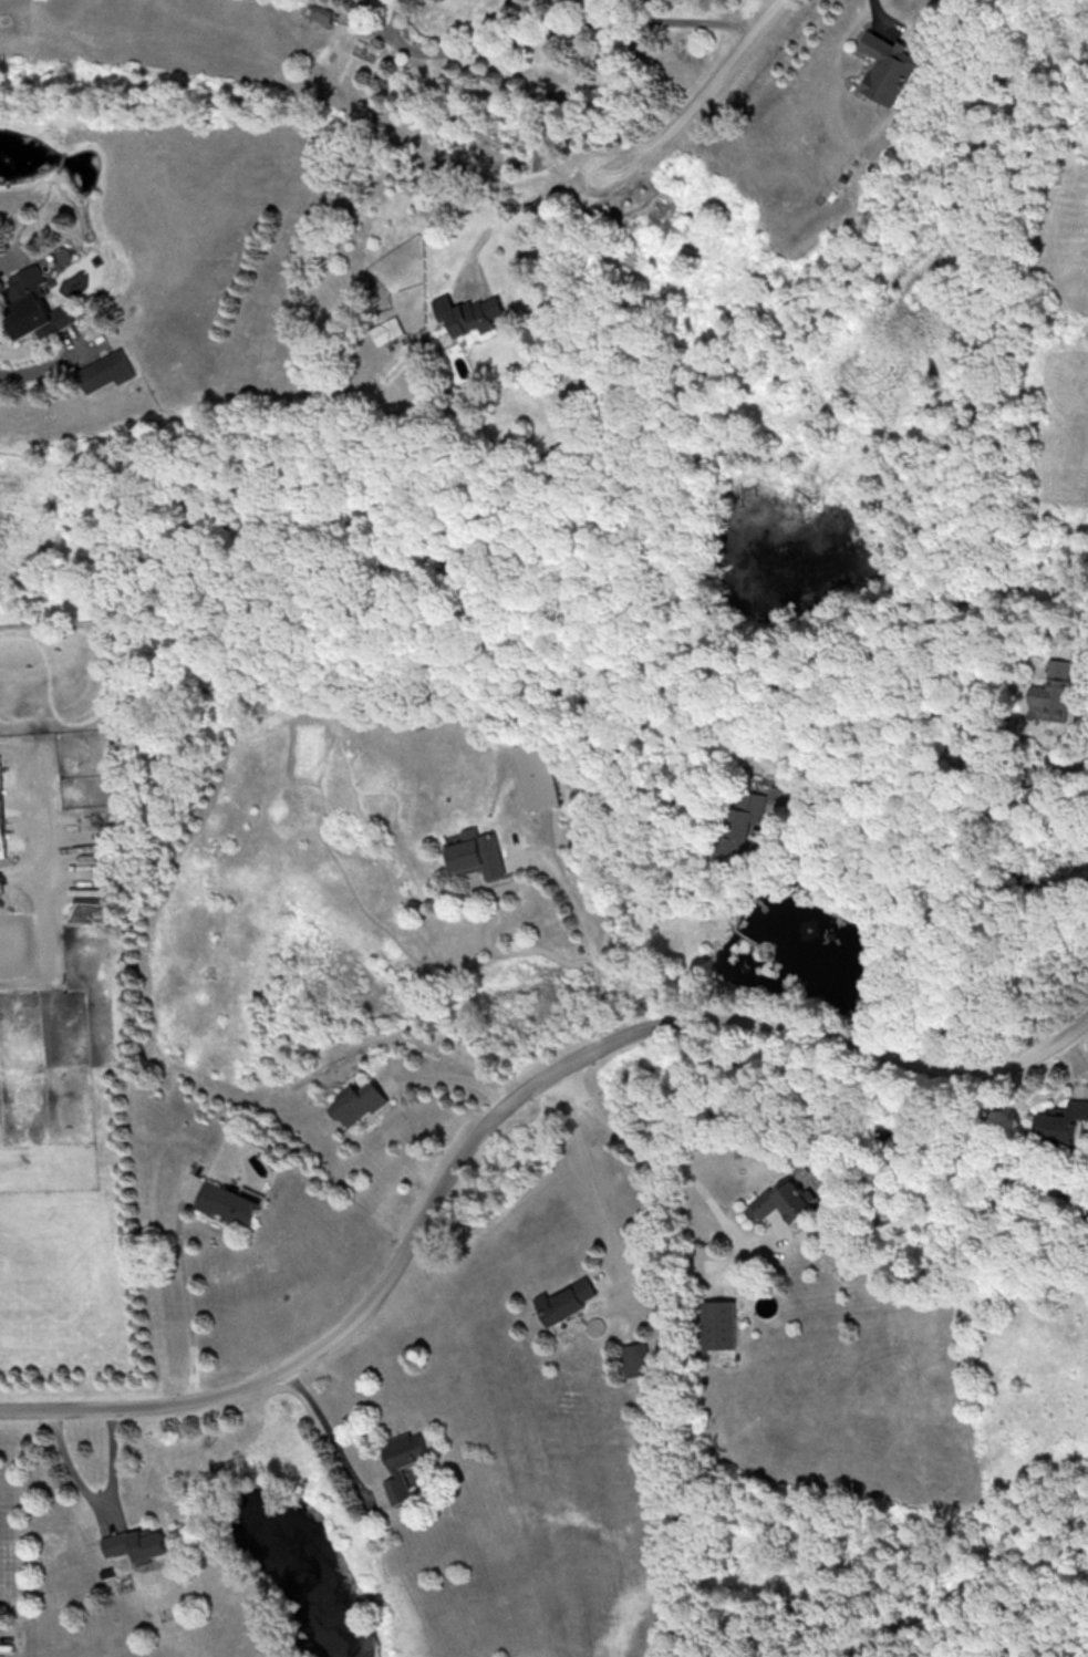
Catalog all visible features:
building: (320, 12)
road: (884, 14)
road: (553, 29)
building: (888, 69)
road: (695, 100)
road: (514, 211)
road: (8, 266)
building: (31, 305)
building: (469, 313)
building: (385, 330)
building: (105, 371)
road: (1078, 645)
building: (1055, 691)
building: (537, 775)
building: (1, 821)
building: (743, 824)
building: (476, 855)
road: (908, 905)
road: (590, 947)
road: (454, 1071)
building: (356, 1100)
road: (501, 1114)
building: (1061, 1120)
road: (654, 1150)
road: (583, 1159)
building: (786, 1200)
building: (229, 1203)
building: (564, 1301)
road: (186, 1304)
building: (718, 1324)
building: (634, 1359)
road: (327, 1427)
building: (402, 1463)
road: (96, 1500)
building: (136, 1544)
park: (962, 1583)
road: (967, 1585)

